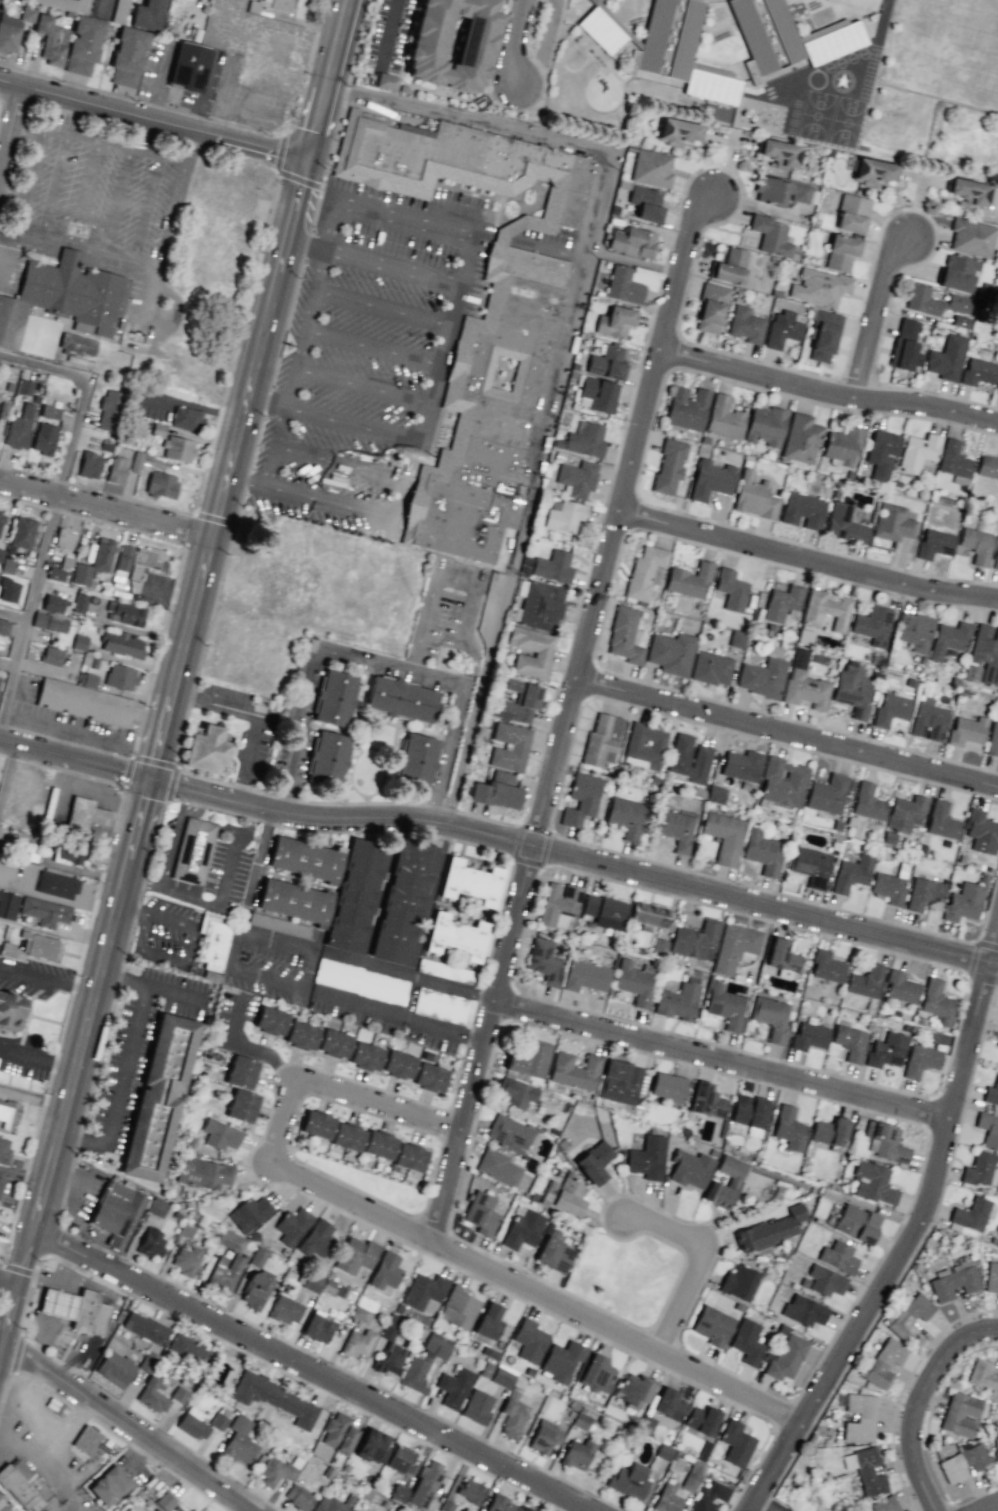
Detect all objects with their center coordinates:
building: (860, 3)
building: (67, 4)
building: (269, 5)
building: (147, 15)
building: (13, 29)
road: (387, 31)
building: (787, 37)
building: (51, 40)
building: (452, 43)
building: (83, 45)
road: (514, 47)
building: (663, 47)
building: (127, 56)
building: (188, 66)
road: (329, 78)
building: (386, 81)
park: (942, 90)
road: (154, 120)
building: (677, 131)
road: (12, 140)
building: (778, 153)
traffic signals: (310, 157)
building: (464, 162)
building: (651, 168)
building: (873, 172)
road: (600, 186)
building: (780, 191)
building: (968, 191)
building: (646, 204)
building: (852, 213)
road: (402, 220)
building: (770, 235)
building: (971, 237)
building: (633, 242)
road: (306, 247)
building: (841, 252)
building: (729, 266)
road: (391, 268)
building: (957, 272)
building: (623, 285)
building: (819, 287)
building: (63, 297)
building: (933, 301)
road: (380, 308)
building: (710, 308)
road: (878, 320)
building: (960, 321)
building: (615, 322)
building: (745, 324)
building: (781, 329)
building: (824, 335)
building: (77, 345)
building: (904, 346)
road: (370, 347)
building: (946, 358)
building: (607, 361)
parking lot: (371, 363)
building: (978, 371)
road: (360, 386)
building: (23, 387)
building: (997, 391)
building: (597, 394)
road: (827, 394)
road: (89, 397)
road: (266, 402)
building: (686, 408)
building: (108, 410)
building: (49, 411)
building: (499, 411)
building: (186, 418)
building: (723, 418)
road: (350, 424)
building: (765, 426)
building: (19, 427)
building: (43, 438)
building: (801, 438)
building: (585, 439)
building: (842, 446)
building: (177, 449)
building: (917, 452)
building: (881, 454)
building: (144, 462)
road: (339, 464)
building: (89, 465)
building: (669, 466)
building: (987, 466)
road: (230, 467)
building: (116, 469)
building: (577, 478)
building: (711, 479)
road: (246, 483)
building: (161, 484)
building: (754, 497)
road: (328, 504)
road: (106, 509)
road: (522, 512)
building: (0, 515)
building: (563, 515)
building: (892, 522)
building: (844, 524)
building: (22, 532)
building: (65, 538)
building: (934, 544)
building: (976, 545)
building: (0, 553)
building: (124, 558)
road: (807, 558)
building: (995, 560)
building: (146, 561)
building: (93, 562)
building: (553, 566)
building: (644, 572)
building: (55, 574)
building: (689, 580)
road: (456, 582)
building: (9, 589)
building: (731, 589)
building: (782, 602)
building: (53, 603)
building: (79, 603)
building: (541, 606)
building: (825, 610)
road: (17, 613)
building: (124, 613)
road: (34, 619)
building: (49, 622)
building: (872, 625)
building: (3, 627)
building: (914, 631)
building: (624, 635)
building: (737, 639)
building: (949, 639)
building: (79, 642)
building: (121, 644)
building: (542, 651)
building: (986, 652)
building: (670, 653)
building: (51, 656)
road: (377, 662)
building: (711, 668)
building: (971, 673)
road: (482, 676)
building: (120, 677)
building: (762, 677)
building: (0, 678)
building: (87, 679)
building: (805, 689)
building: (852, 690)
building: (334, 698)
building: (400, 699)
building: (518, 701)
building: (84, 702)
building: (891, 709)
road: (566, 713)
road: (255, 716)
building: (928, 720)
building: (966, 730)
road: (786, 735)
building: (601, 740)
building: (992, 740)
road: (8, 742)
building: (509, 746)
building: (644, 746)
building: (206, 749)
building: (689, 758)
building: (326, 759)
road: (82, 761)
building: (414, 761)
building: (741, 765)
road: (8, 776)
building: (782, 782)
building: (496, 791)
building: (715, 794)
building: (826, 794)
building: (581, 799)
building: (867, 802)
building: (905, 813)
building: (85, 814)
road: (339, 816)
building: (625, 816)
building: (941, 821)
building: (675, 829)
building: (981, 832)
building: (724, 836)
building: (193, 851)
building: (70, 852)
building: (762, 852)
building: (305, 858)
building: (809, 865)
building: (851, 873)
building: (470, 882)
building: (56, 885)
building: (888, 887)
road: (249, 888)
building: (923, 893)
building: (355, 895)
building: (294, 900)
building: (403, 901)
building: (963, 902)
building: (558, 903)
building: (8, 904)
road: (764, 905)
building: (45, 911)
building: (604, 911)
building: (648, 914)
building: (277, 924)
building: (456, 936)
building: (695, 940)
building: (212, 942)
road: (295, 944)
building: (38, 945)
building: (734, 947)
building: (782, 956)
building: (544, 961)
building: (826, 966)
building: (445, 971)
road: (411, 976)
building: (585, 976)
road: (267, 977)
building: (360, 981)
building: (865, 981)
building: (900, 987)
building: (936, 1001)
building: (677, 1002)
building: (440, 1006)
building: (725, 1006)
building: (11, 1012)
road: (400, 1014)
building: (771, 1017)
building: (270, 1020)
building: (301, 1035)
building: (809, 1036)
building: (997, 1041)
building: (850, 1042)
building: (334, 1043)
building: (886, 1049)
building: (366, 1056)
building: (530, 1059)
road: (720, 1059)
building: (920, 1060)
road: (126, 1064)
building: (398, 1064)
road: (79, 1065)
building: (574, 1071)
building: (241, 1072)
building: (430, 1077)
building: (619, 1082)
building: (667, 1087)
building: (991, 1091)
road: (335, 1092)
building: (516, 1092)
building: (158, 1098)
building: (706, 1100)
building: (241, 1105)
building: (8, 1114)
building: (749, 1114)
building: (316, 1124)
building: (789, 1128)
building: (988, 1129)
building: (829, 1131)
building: (509, 1133)
building: (220, 1134)
building: (346, 1137)
building: (885, 1141)
building: (379, 1145)
building: (4, 1150)
building: (409, 1157)
building: (646, 1158)
building: (593, 1162)
building: (497, 1167)
building: (690, 1168)
building: (978, 1169)
building: (204, 1173)
building: (873, 1182)
building: (1, 1183)
park: (371, 1183)
building: (732, 1183)
building: (564, 1194)
building: (157, 1206)
building: (116, 1213)
building: (249, 1213)
building: (480, 1213)
building: (971, 1214)
building: (856, 1223)
building: (292, 1225)
building: (522, 1228)
building: (186, 1230)
building: (770, 1230)
road: (912, 1232)
building: (316, 1239)
building: (230, 1240)
building: (151, 1242)
building: (553, 1252)
building: (356, 1255)
building: (838, 1257)
road: (698, 1258)
building: (187, 1260)
building: (386, 1270)
building: (225, 1271)
park: (627, 1277)
building: (991, 1278)
building: (825, 1280)
building: (311, 1282)
building: (738, 1282)
building: (954, 1283)
road: (11, 1286)
building: (255, 1290)
building: (423, 1290)
road: (534, 1293)
building: (458, 1307)
building: (76, 1309)
building: (285, 1310)
building: (803, 1310)
building: (910, 1315)
building: (488, 1321)
building: (712, 1325)
building: (144, 1327)
building: (318, 1327)
building: (529, 1340)
building: (747, 1342)
building: (358, 1343)
building: (189, 1349)
building: (390, 1358)
building: (785, 1358)
road: (1, 1360)
building: (561, 1360)
road: (2, 1362)
building: (424, 1362)
building: (884, 1362)
building: (115, 1368)
road: (315, 1373)
building: (596, 1374)
building: (982, 1374)
building: (502, 1378)
building: (454, 1387)
building: (632, 1390)
road: (27, 1395)
building: (152, 1395)
building: (275, 1398)
road: (916, 1401)
building: (668, 1404)
building: (477, 1406)
building: (960, 1414)
building: (512, 1416)
building: (859, 1417)
building: (701, 1419)
building: (580, 1420)
building: (218, 1421)
building: (193, 1423)
road: (47, 1426)
road: (129, 1431)
building: (339, 1433)
road: (13, 1436)
building: (545, 1437)
building: (239, 1440)
building: (87, 1441)
building: (735, 1443)
building: (370, 1445)
building: (996, 1447)
road: (0, 1449)
building: (663, 1451)
building: (577, 1454)
building: (401, 1460)
building: (848, 1461)
building: (962, 1462)
building: (869, 1472)
building: (690, 1480)
building: (628, 1481)
building: (22, 1484)
building: (424, 1484)
building: (109, 1485)
building: (442, 1485)
building: (470, 1491)
building: (709, 1496)
building: (298, 1497)
building: (666, 1499)
building: (164, 1501)
building: (327, 1504)
building: (500, 1504)
building: (885, 1504)
road: (983, 1505)
building: (4, 1506)
building: (523, 1508)
building: (205, 1510)
building: (353, 1510)

